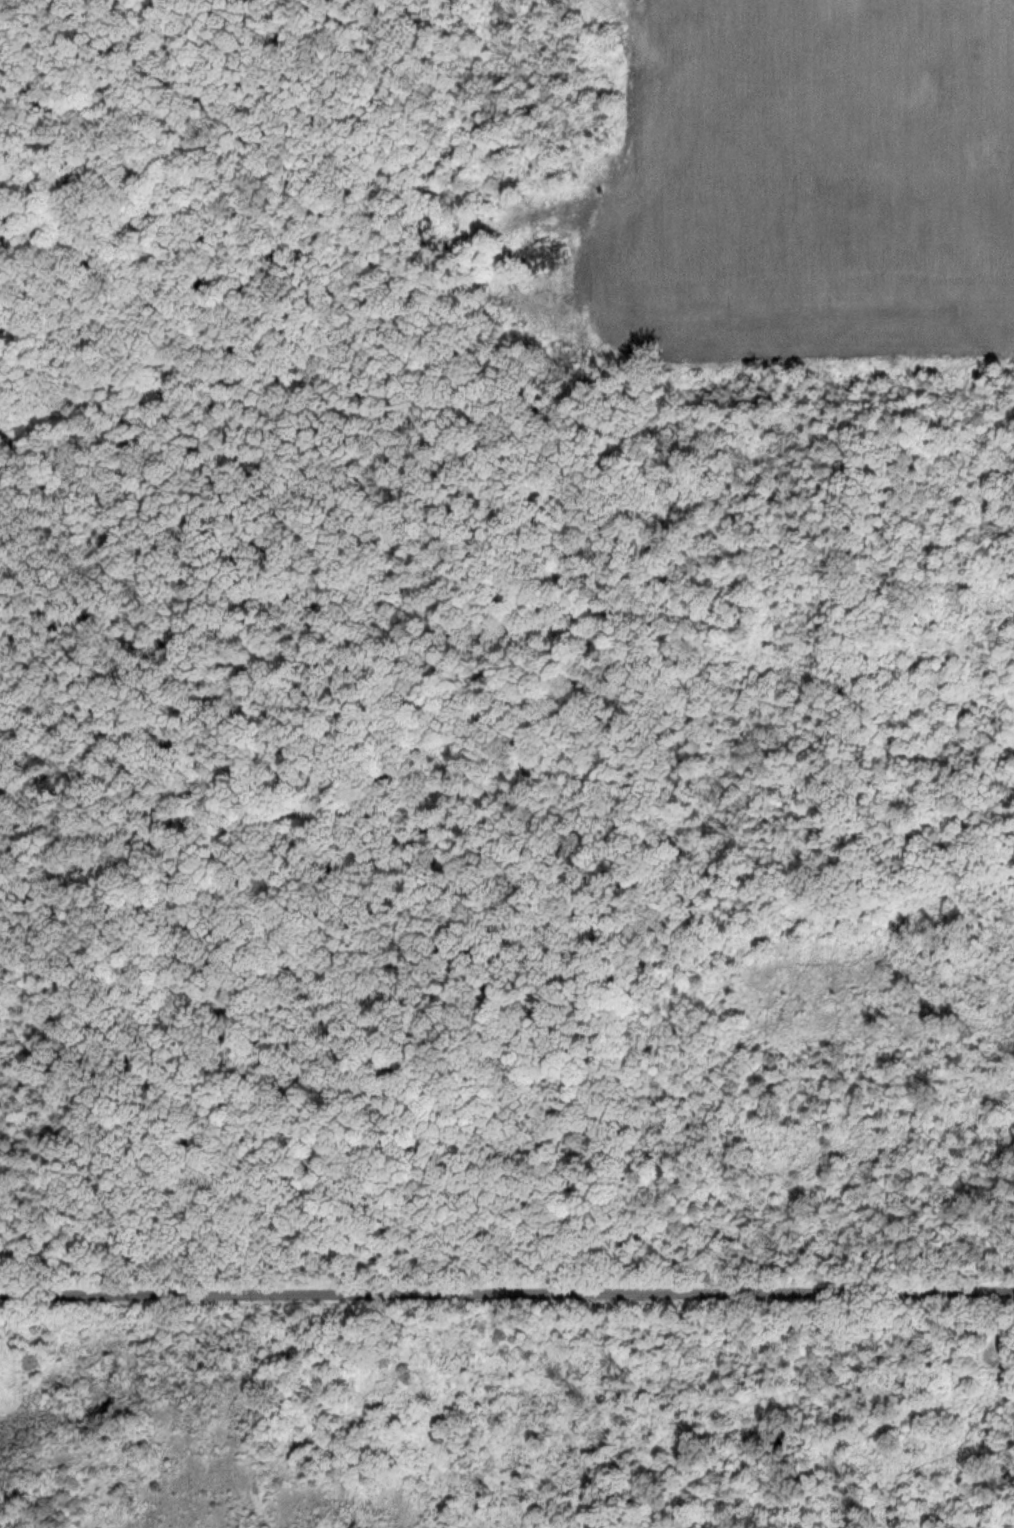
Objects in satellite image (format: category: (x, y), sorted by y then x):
road: (507, 1293)

